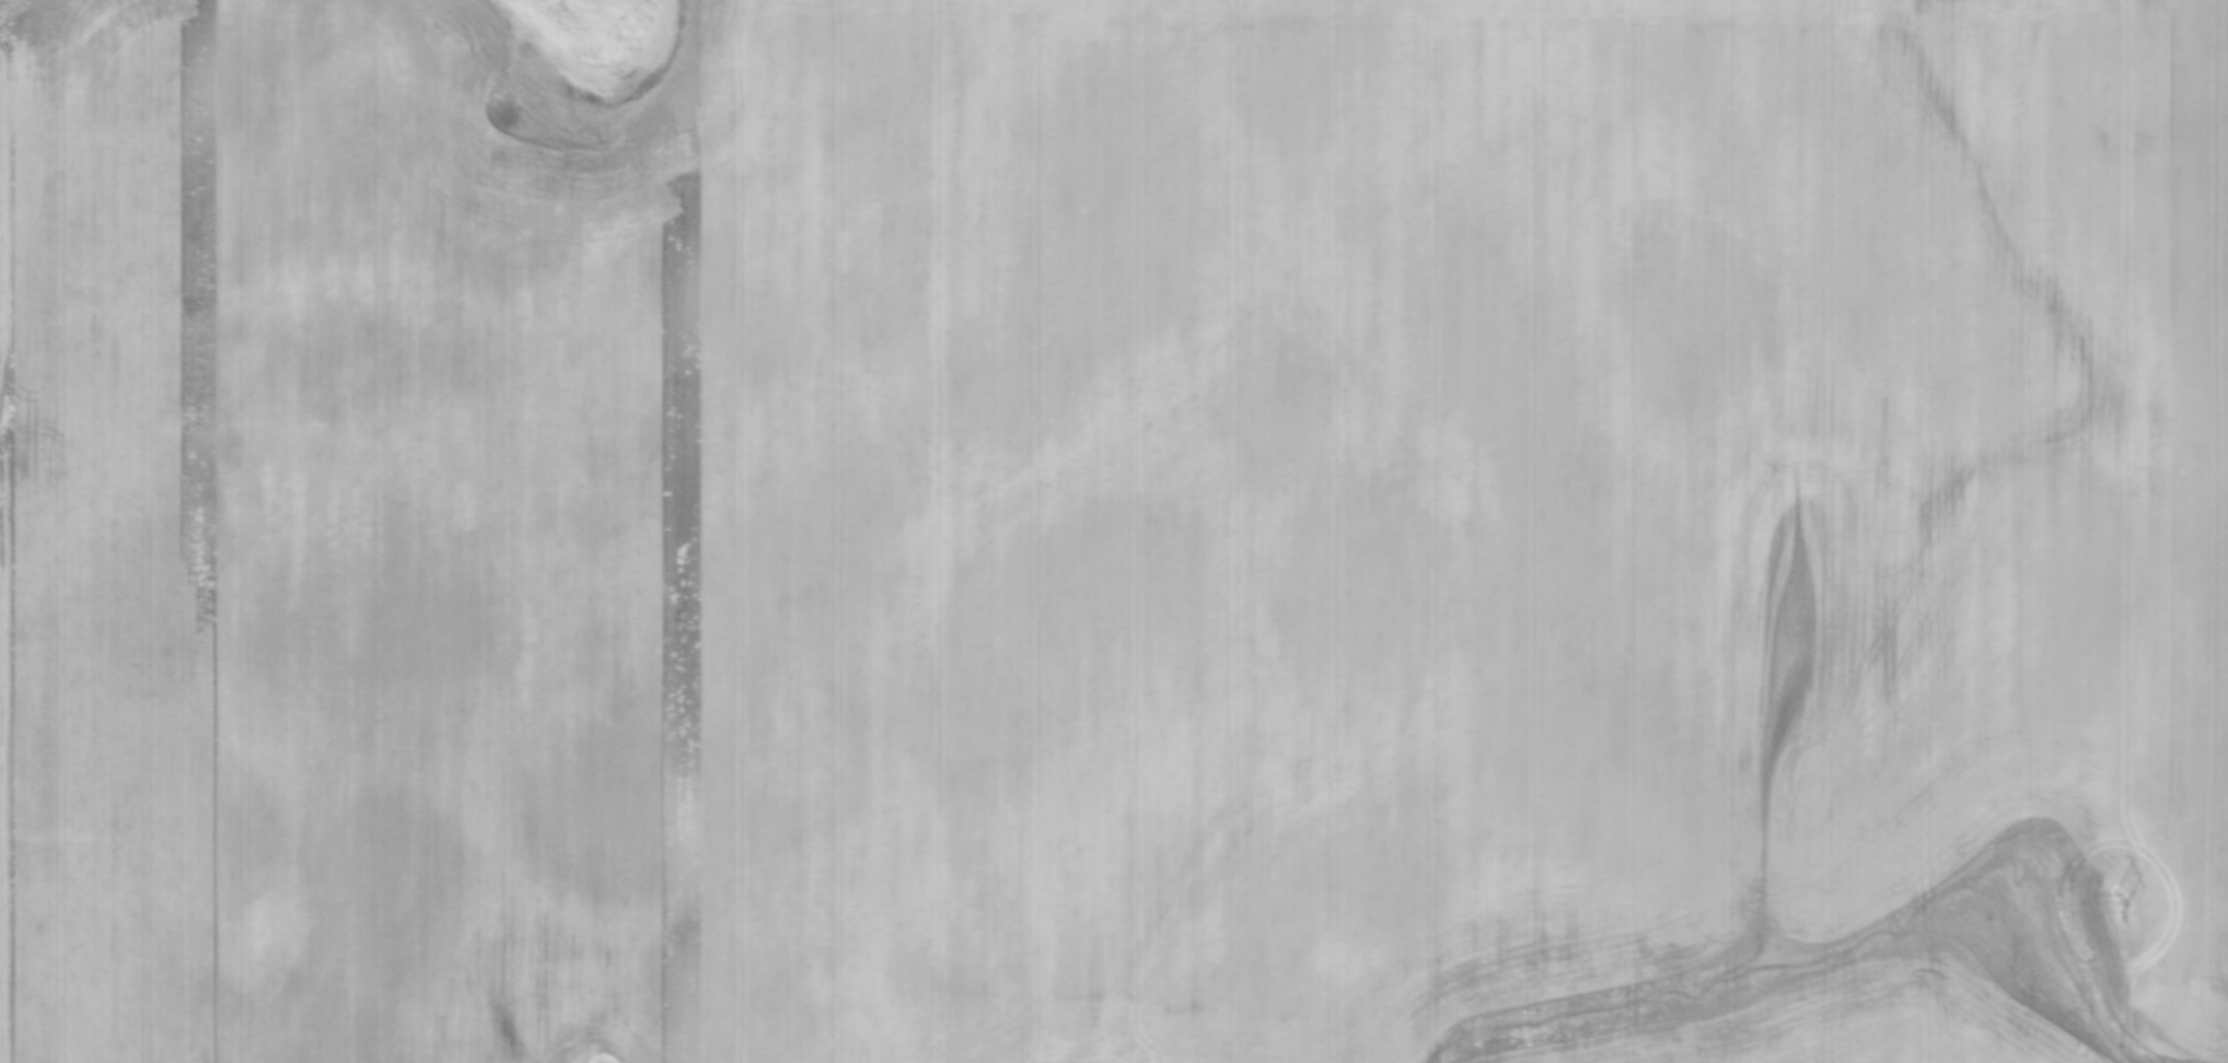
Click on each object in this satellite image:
power tower: (2115, 900)

